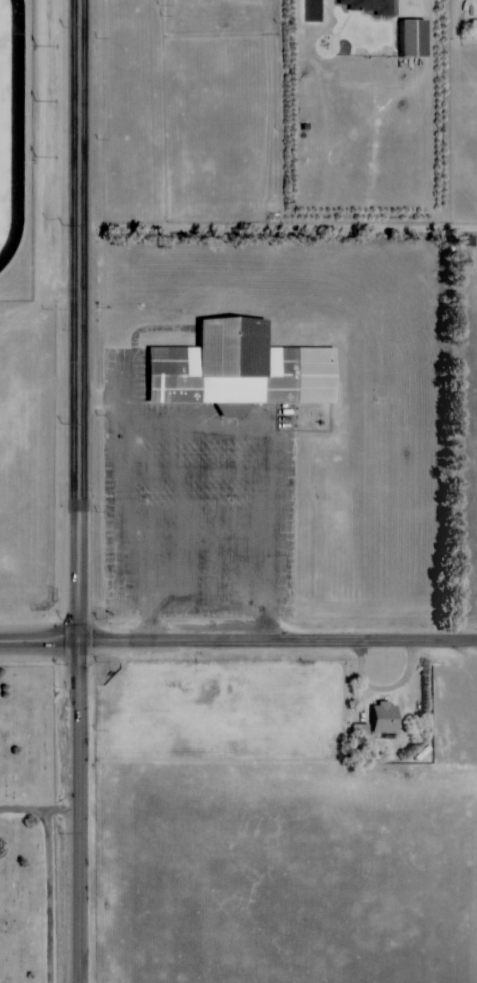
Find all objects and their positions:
building: (364, 6)
power tower: (63, 27)
building: (472, 29)
building: (407, 37)
park: (1, 94)
road: (18, 134)
power tower: (63, 225)
building: (234, 368)
power tower: (62, 419)
road: (154, 485)
road: (80, 491)
power tower: (61, 618)
road: (238, 640)
building: (378, 717)
building: (360, 732)
road: (40, 810)
power tower: (61, 832)
road: (50, 896)

